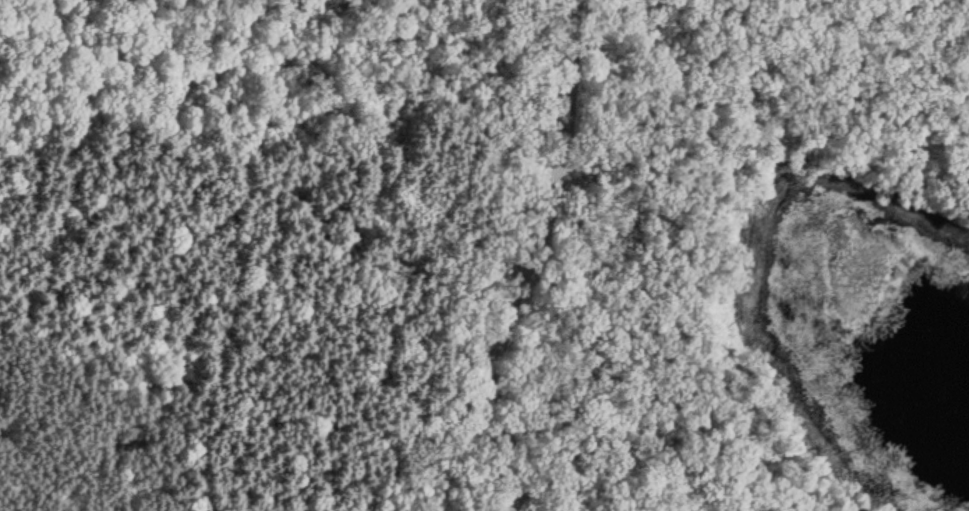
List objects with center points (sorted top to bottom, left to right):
road: (583, 53)
road: (511, 307)

